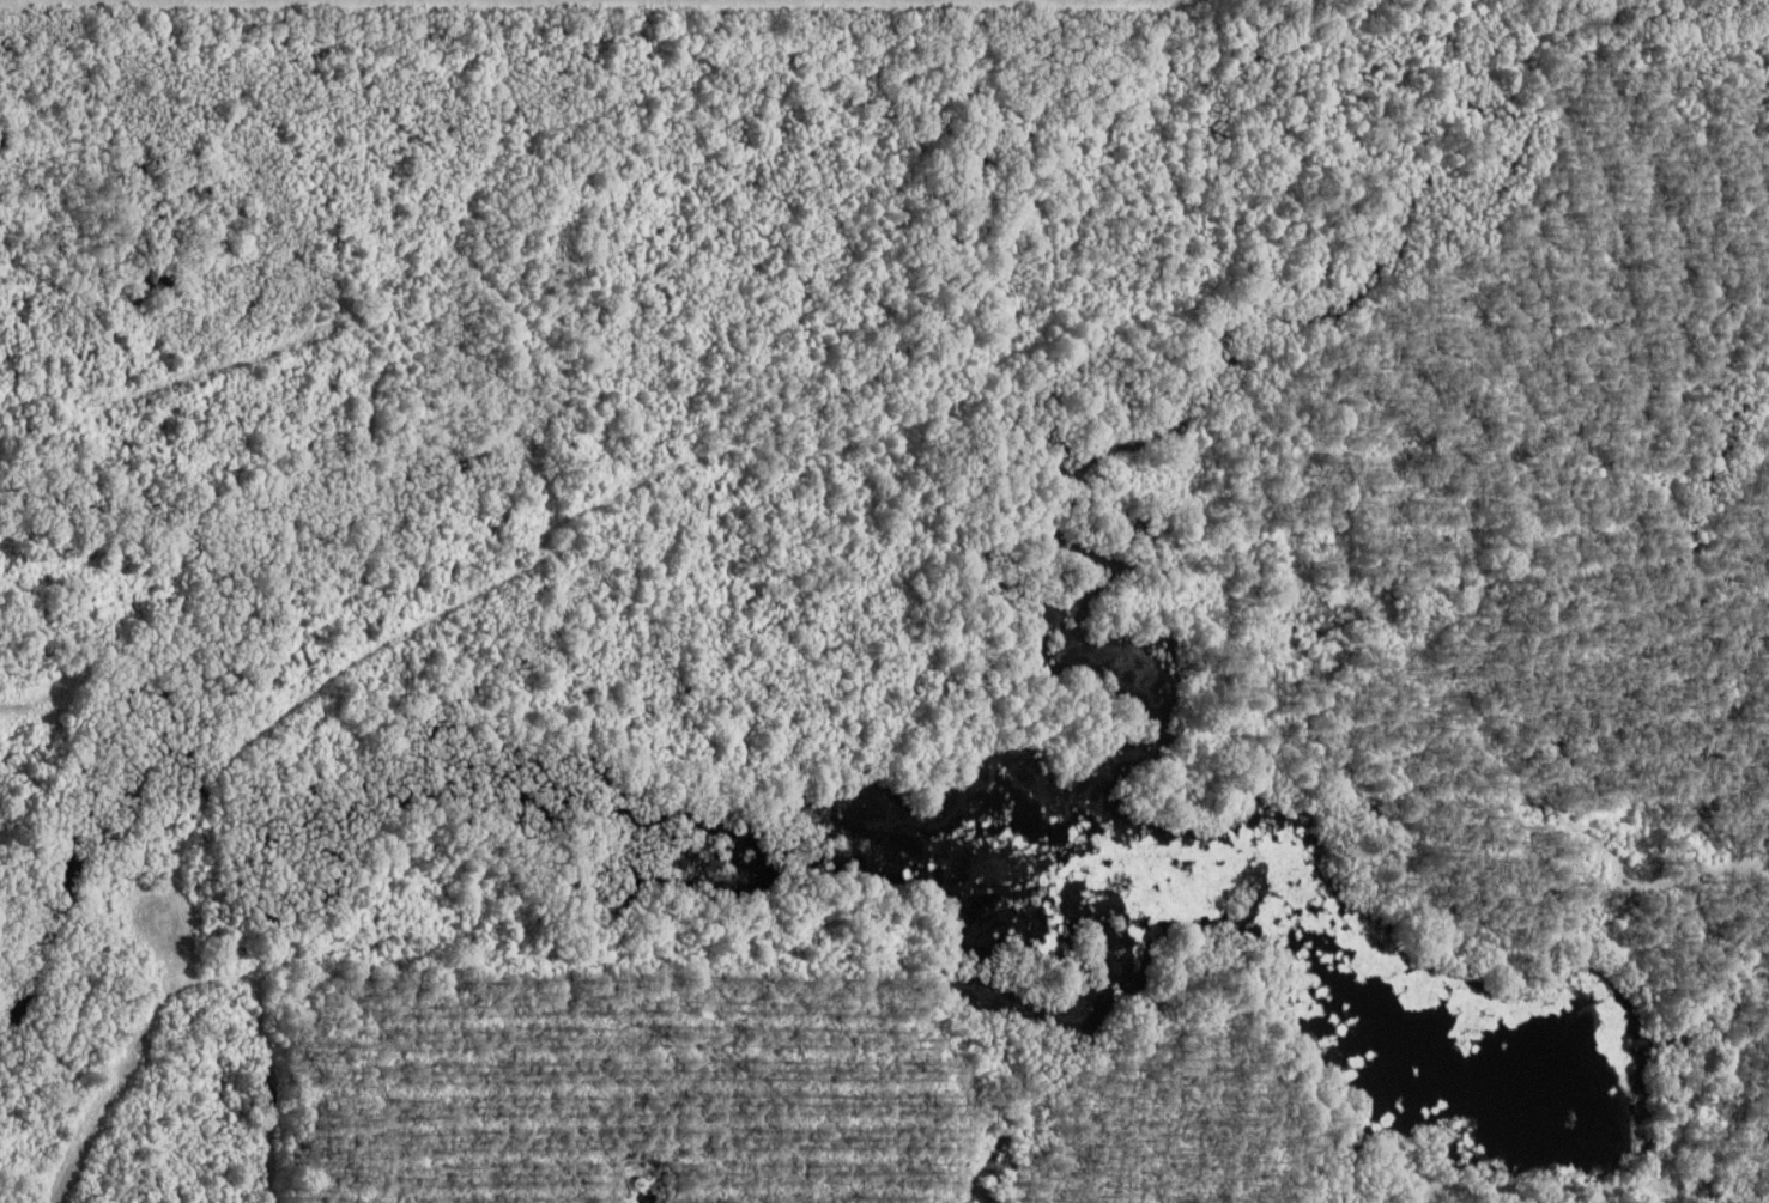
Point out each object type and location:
building: (1701, 1190)

